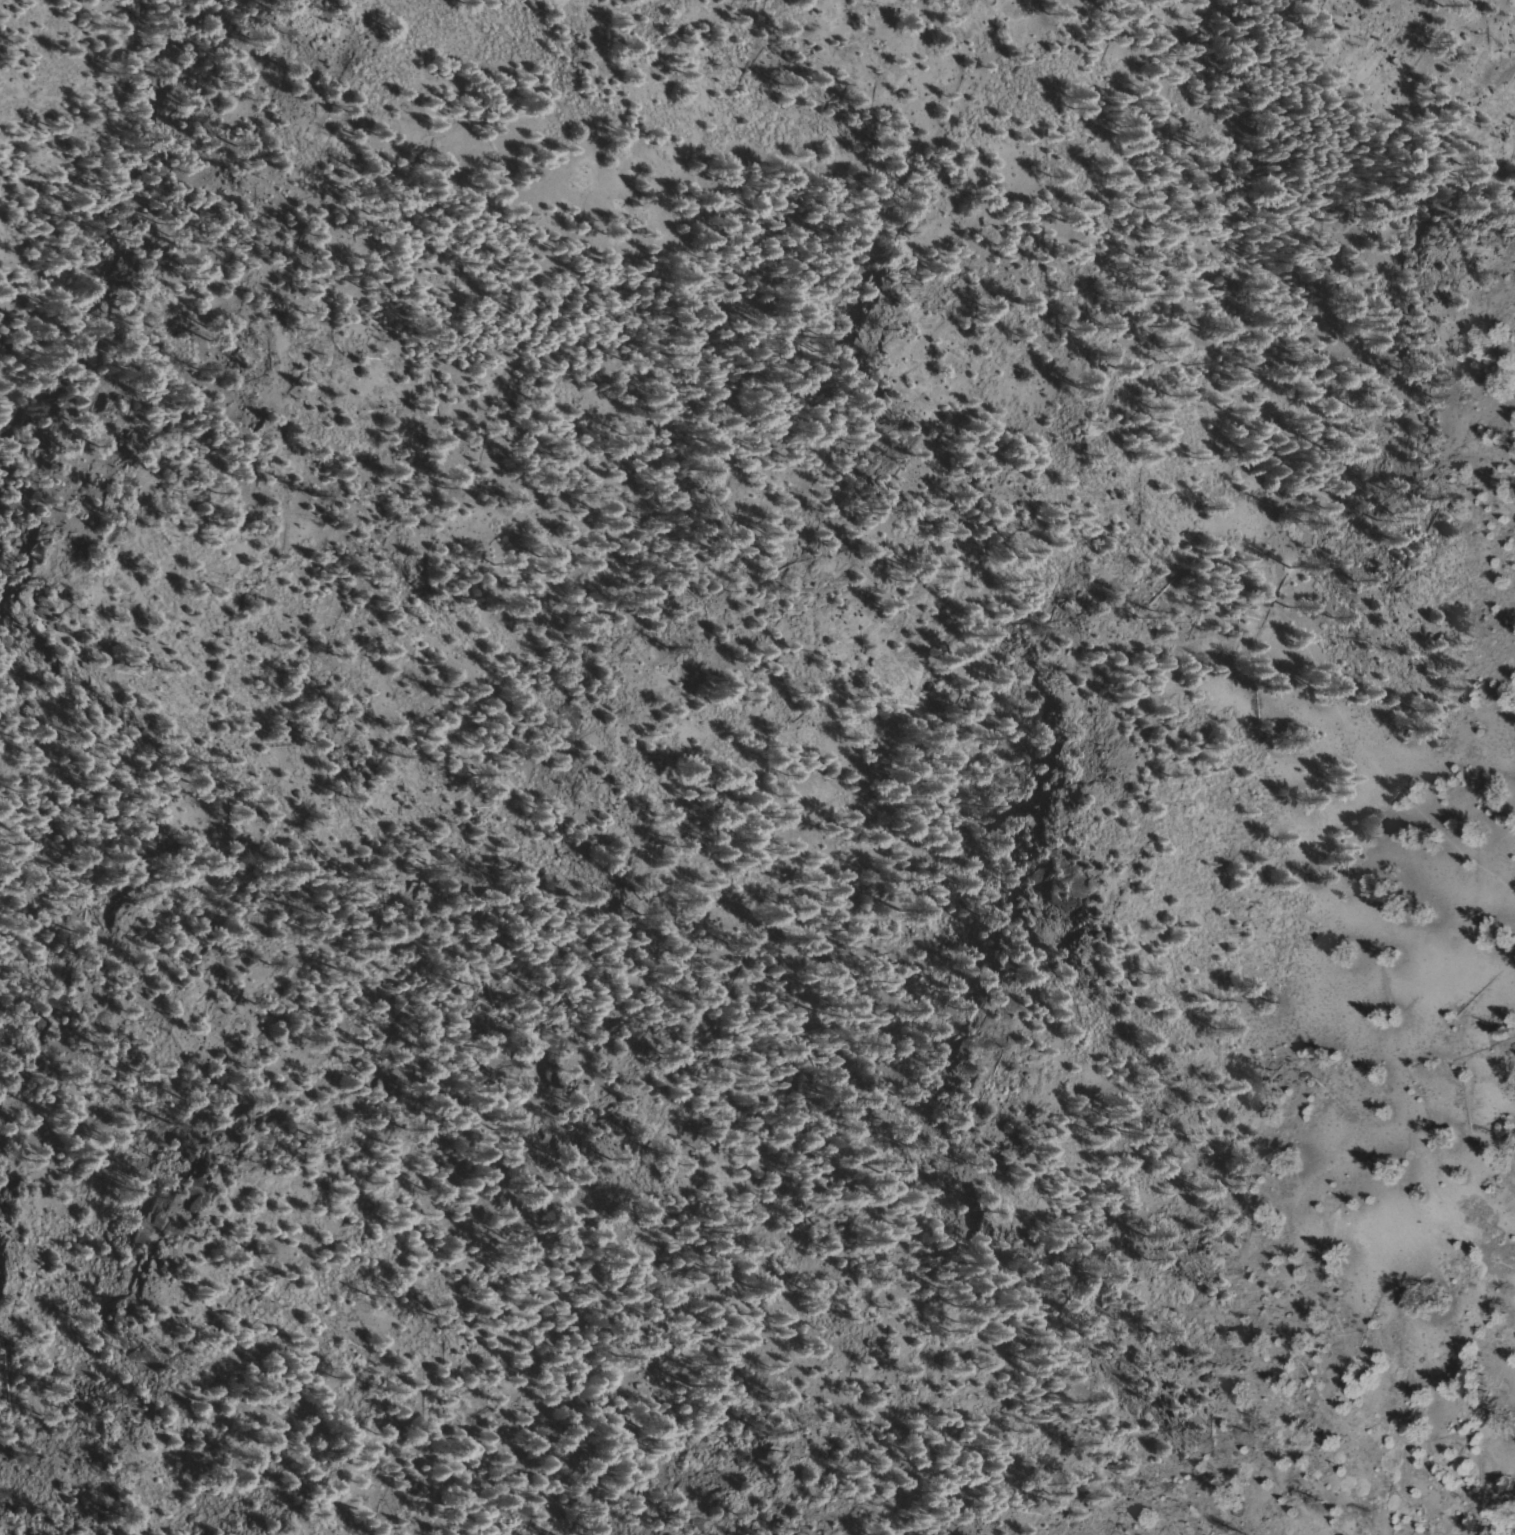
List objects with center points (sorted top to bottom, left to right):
road: (1281, 471)

